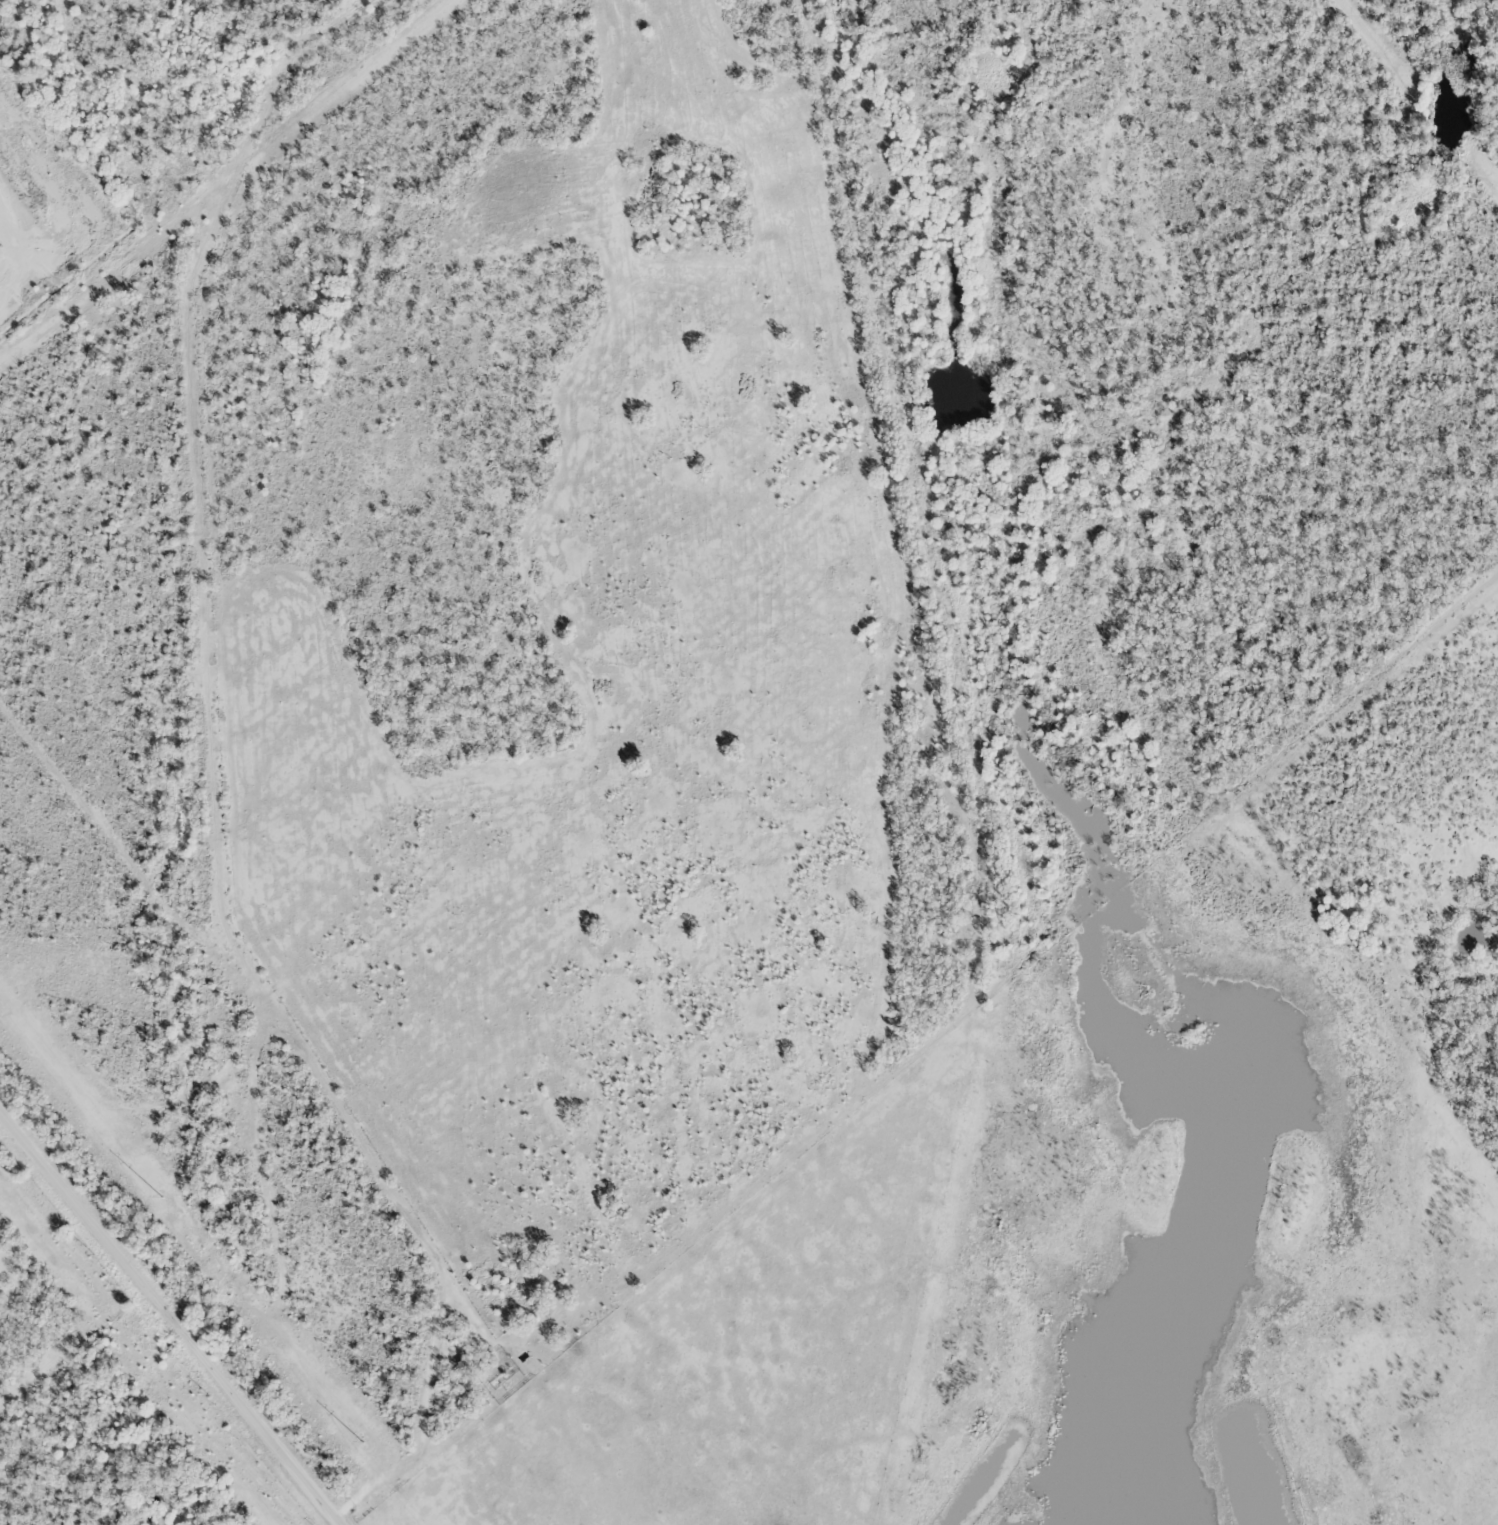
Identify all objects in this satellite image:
power tower: (159, 1194)
road: (169, 1319)
power tower: (358, 1439)

